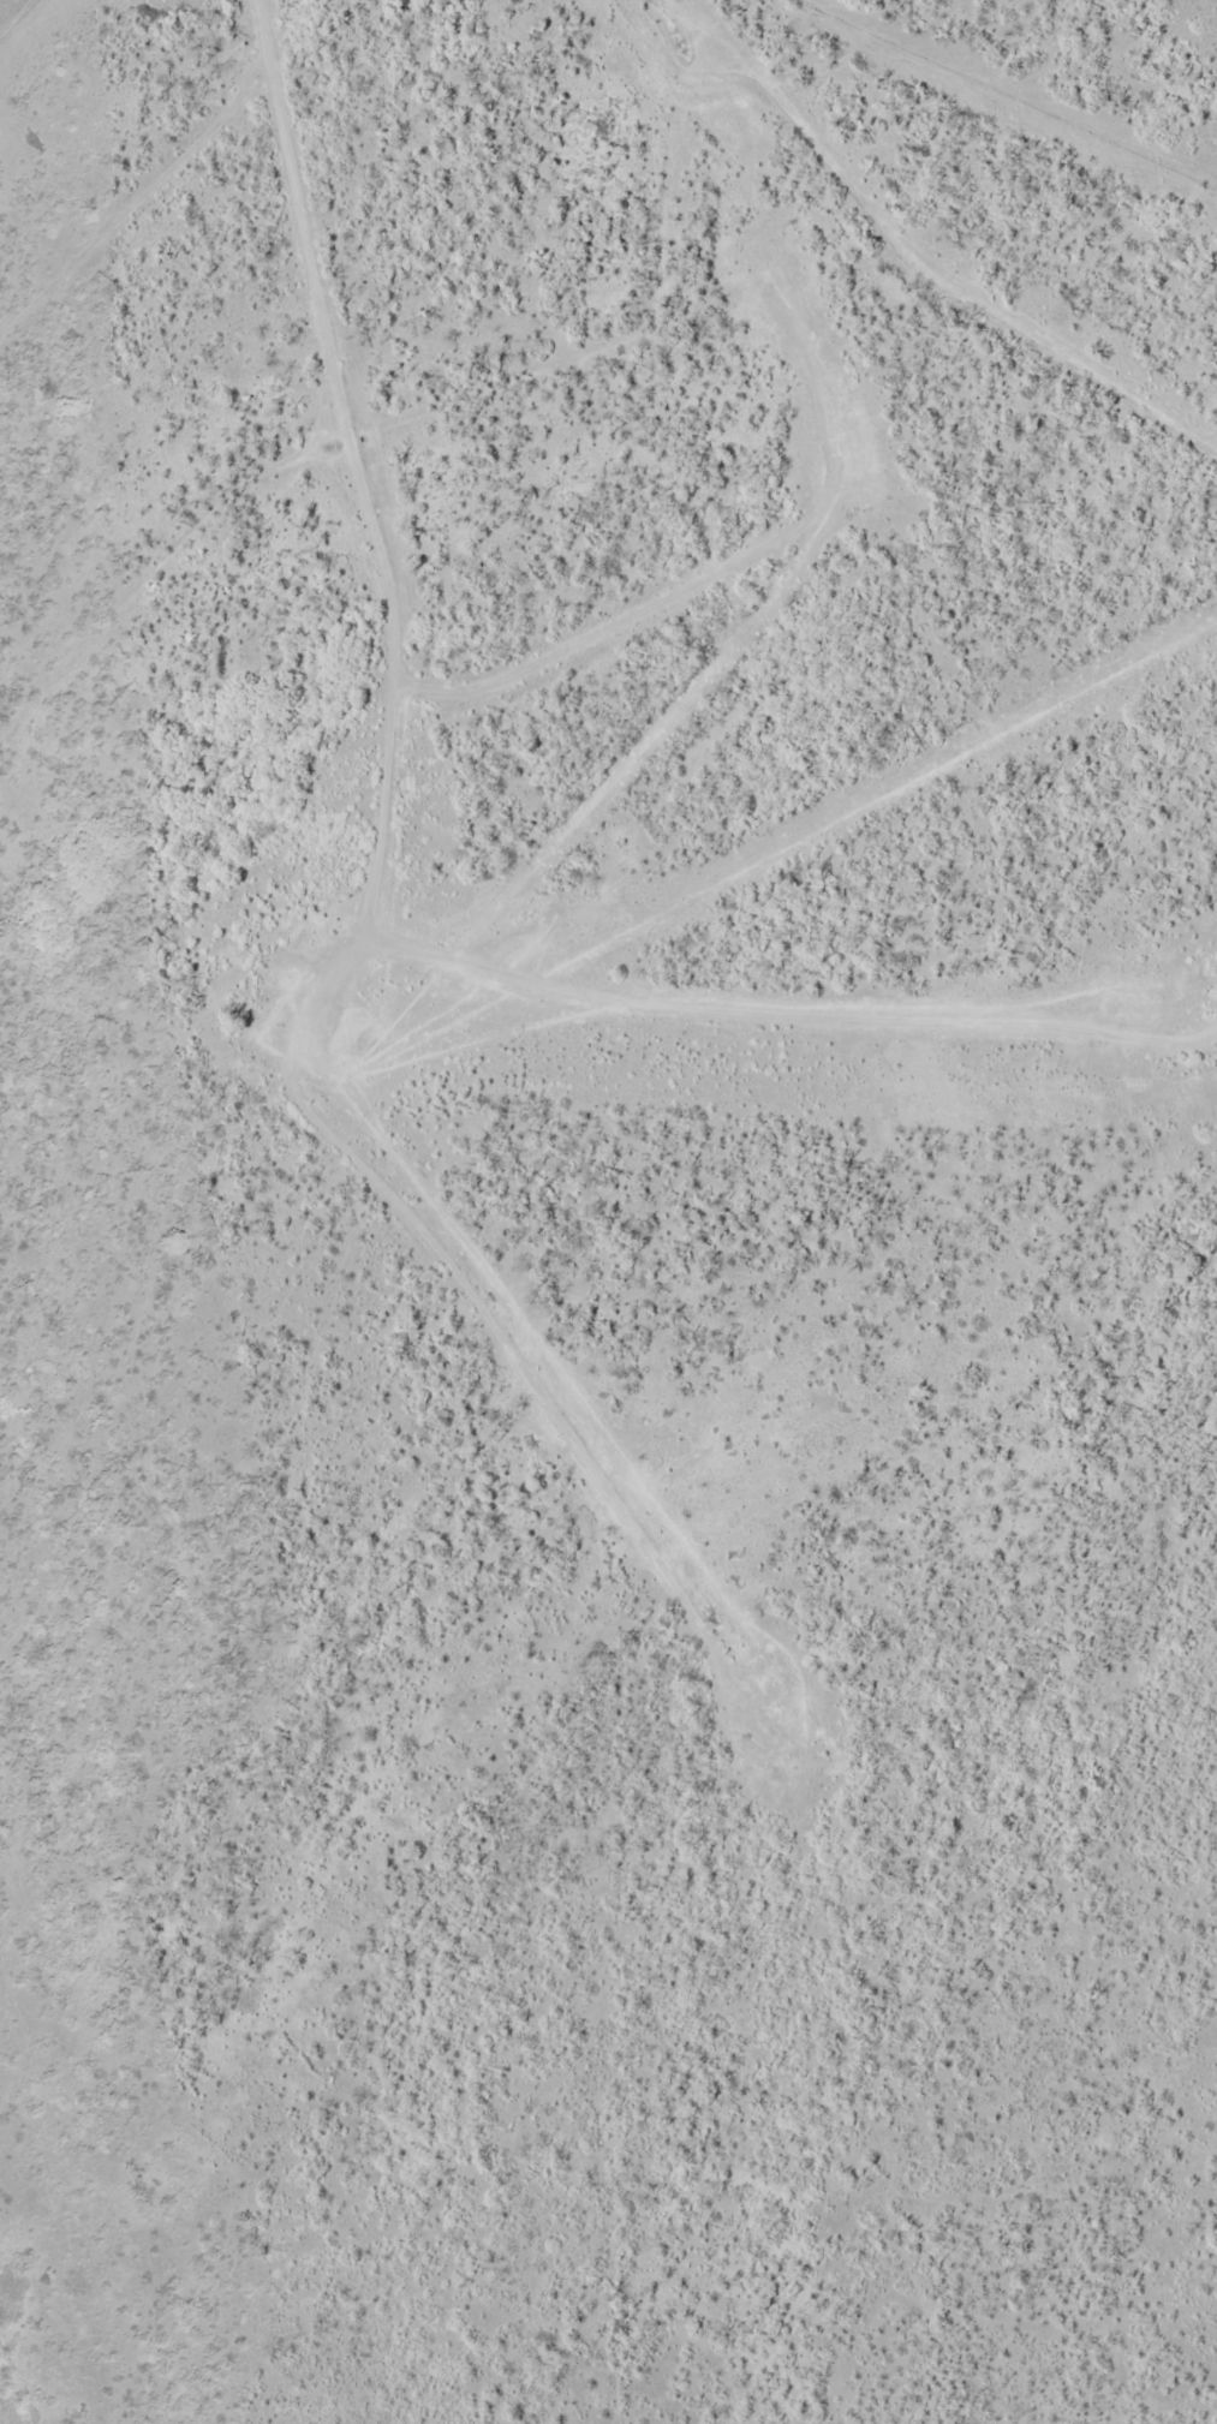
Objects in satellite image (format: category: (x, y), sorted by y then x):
building: (860, 447)
storage tank: (860, 447)
road: (358, 464)
building: (452, 989)
storage tank: (452, 989)
building: (1121, 1005)
storage tank: (1121, 1005)
building: (285, 1017)
building: (352, 1044)
storage tank: (352, 1044)
building: (318, 1055)
building: (763, 1674)
storage tank: (763, 1674)

